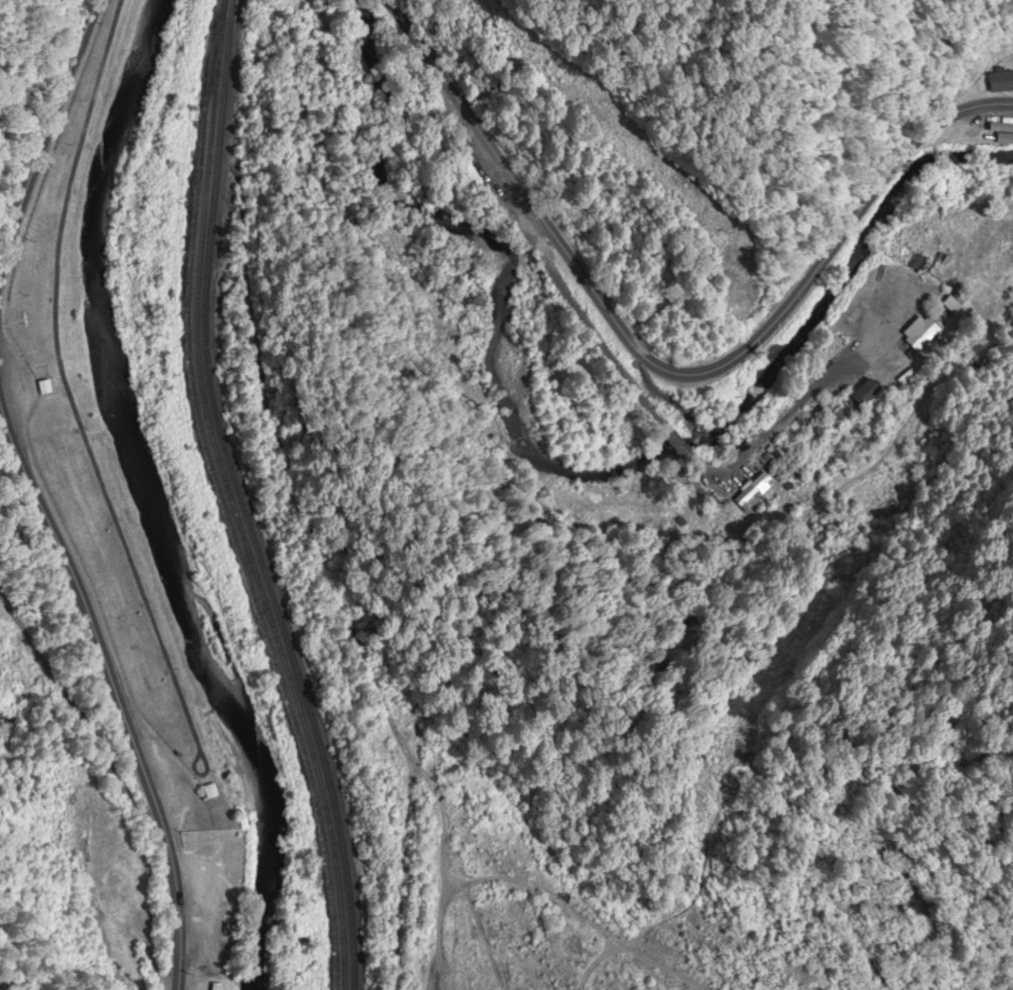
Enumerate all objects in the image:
building: (1000, 80)
road: (47, 130)
building: (919, 333)
road: (661, 380)
building: (45, 388)
building: (862, 397)
road: (668, 430)
building: (753, 491)
railway: (233, 499)
river: (138, 501)
road: (113, 690)
building: (8, 708)
road: (83, 719)
building: (211, 791)

